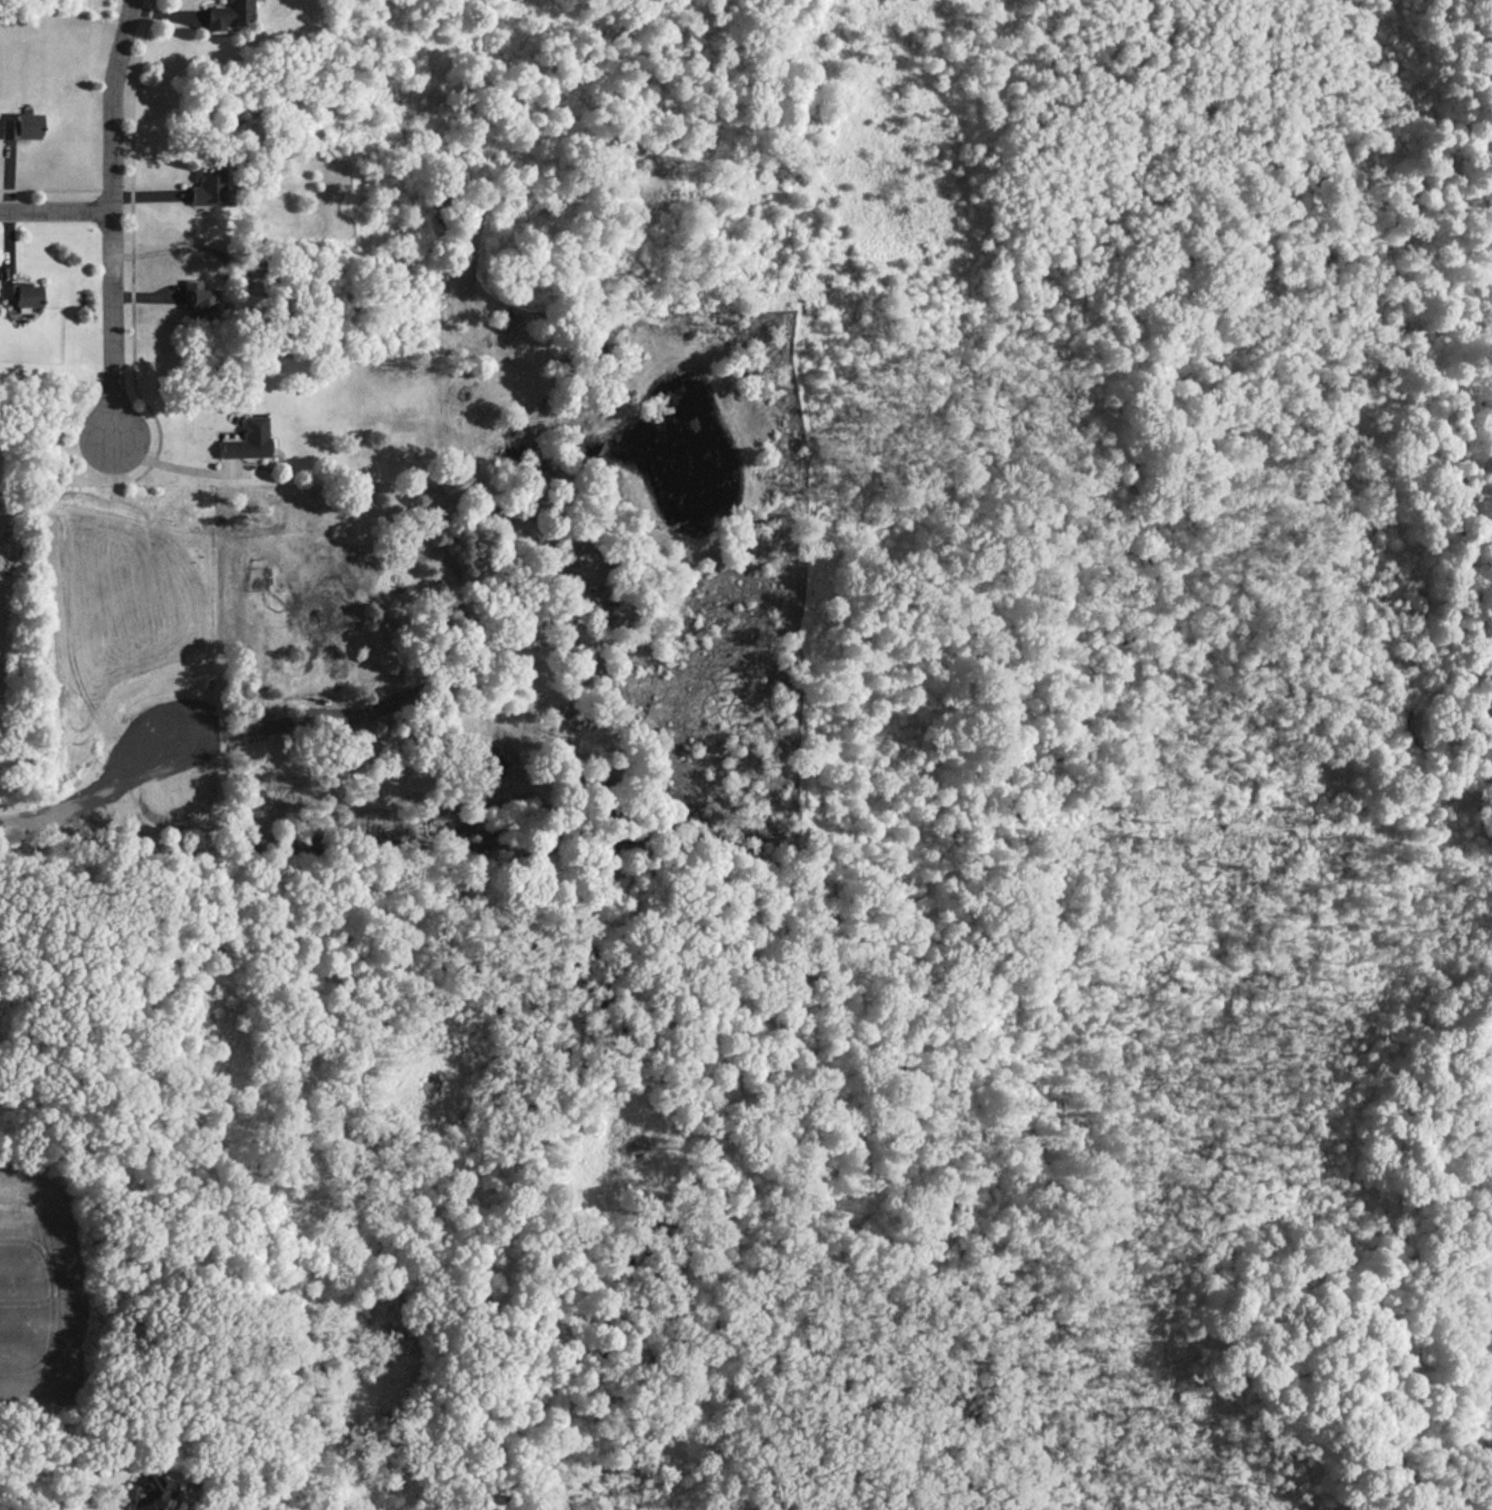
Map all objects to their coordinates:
building: (228, 14)
building: (21, 127)
building: (208, 185)
road: (50, 189)
road: (55, 207)
road: (110, 219)
road: (131, 245)
building: (23, 295)
building: (198, 301)
building: (248, 440)
road: (166, 465)
building: (152, 1492)

